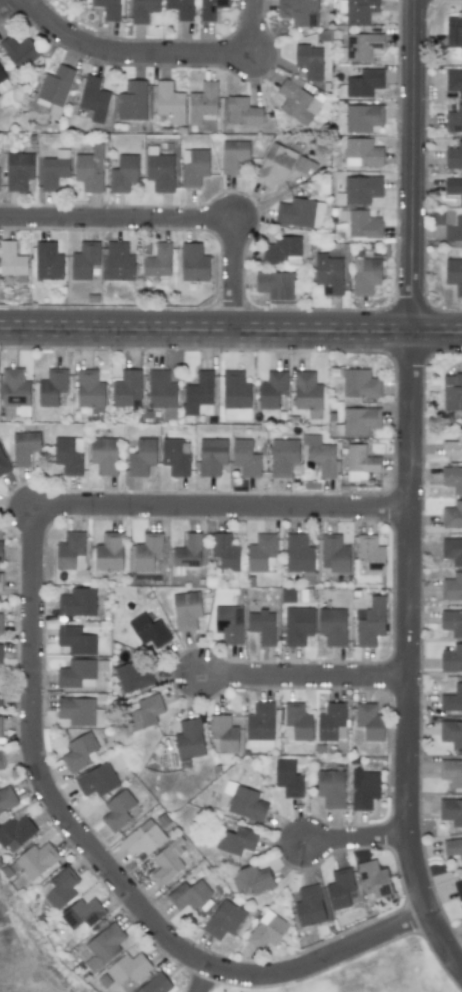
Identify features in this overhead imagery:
road: (4, 4)
building: (108, 8)
building: (180, 8)
building: (211, 9)
building: (143, 10)
building: (360, 11)
building: (299, 12)
building: (454, 31)
building: (361, 46)
building: (19, 51)
road: (157, 54)
building: (309, 61)
building: (454, 81)
building: (3, 83)
building: (364, 83)
building: (55, 89)
building: (94, 98)
building: (132, 101)
building: (169, 102)
building: (202, 102)
building: (298, 103)
building: (242, 112)
building: (363, 118)
building: (454, 120)
building: (361, 152)
building: (233, 155)
building: (454, 156)
building: (274, 165)
road: (415, 165)
building: (194, 167)
building: (54, 169)
building: (90, 169)
building: (18, 170)
building: (123, 173)
building: (453, 188)
building: (360, 190)
building: (299, 213)
road: (171, 220)
building: (363, 225)
building: (454, 229)
building: (283, 250)
building: (85, 260)
building: (48, 261)
building: (158, 261)
building: (12, 262)
building: (118, 262)
building: (193, 262)
building: (328, 274)
building: (454, 274)
building: (365, 275)
building: (275, 285)
road: (206, 328)
road: (438, 330)
building: (360, 383)
building: (52, 387)
building: (15, 388)
building: (126, 388)
building: (272, 389)
building: (161, 390)
building: (306, 391)
building: (90, 392)
building: (452, 392)
building: (197, 393)
building: (234, 395)
building: (359, 420)
building: (453, 446)
building: (25, 447)
building: (69, 454)
building: (104, 455)
building: (320, 455)
building: (212, 456)
building: (283, 456)
building: (141, 457)
building: (176, 457)
building: (245, 458)
building: (360, 462)
building: (3, 463)
building: (452, 479)
building: (452, 515)
building: (452, 550)
building: (1, 551)
building: (70, 551)
building: (147, 551)
building: (188, 551)
building: (109, 552)
building: (225, 552)
building: (262, 552)
building: (298, 553)
building: (334, 553)
building: (371, 553)
building: (1, 582)
building: (452, 587)
building: (288, 595)
building: (77, 602)
building: (186, 610)
building: (0, 622)
building: (452, 622)
building: (371, 623)
building: (228, 625)
building: (298, 625)
building: (262, 626)
building: (332, 626)
building: (149, 631)
building: (76, 640)
road: (412, 652)
building: (0, 654)
building: (452, 659)
building: (77, 674)
road: (308, 677)
building: (133, 678)
building: (0, 695)
building: (452, 699)
road: (34, 701)
building: (80, 711)
building: (145, 711)
building: (369, 721)
building: (297, 722)
building: (332, 722)
building: (260, 725)
building: (0, 729)
building: (224, 733)
building: (451, 733)
building: (189, 739)
building: (79, 751)
building: (1, 761)
building: (451, 772)
building: (288, 779)
building: (97, 780)
building: (330, 787)
building: (364, 789)
building: (6, 798)
building: (246, 804)
building: (117, 810)
building: (451, 811)
building: (15, 833)
building: (143, 838)
road: (359, 839)
building: (236, 841)
building: (453, 848)
building: (37, 860)
building: (167, 862)
building: (252, 879)
building: (374, 879)
building: (60, 888)
building: (340, 888)
building: (458, 889)
building: (189, 895)
building: (309, 906)
building: (82, 915)
building: (224, 919)
building: (267, 930)
building: (104, 946)
building: (128, 968)
park: (381, 974)
road: (205, 979)
building: (156, 984)

